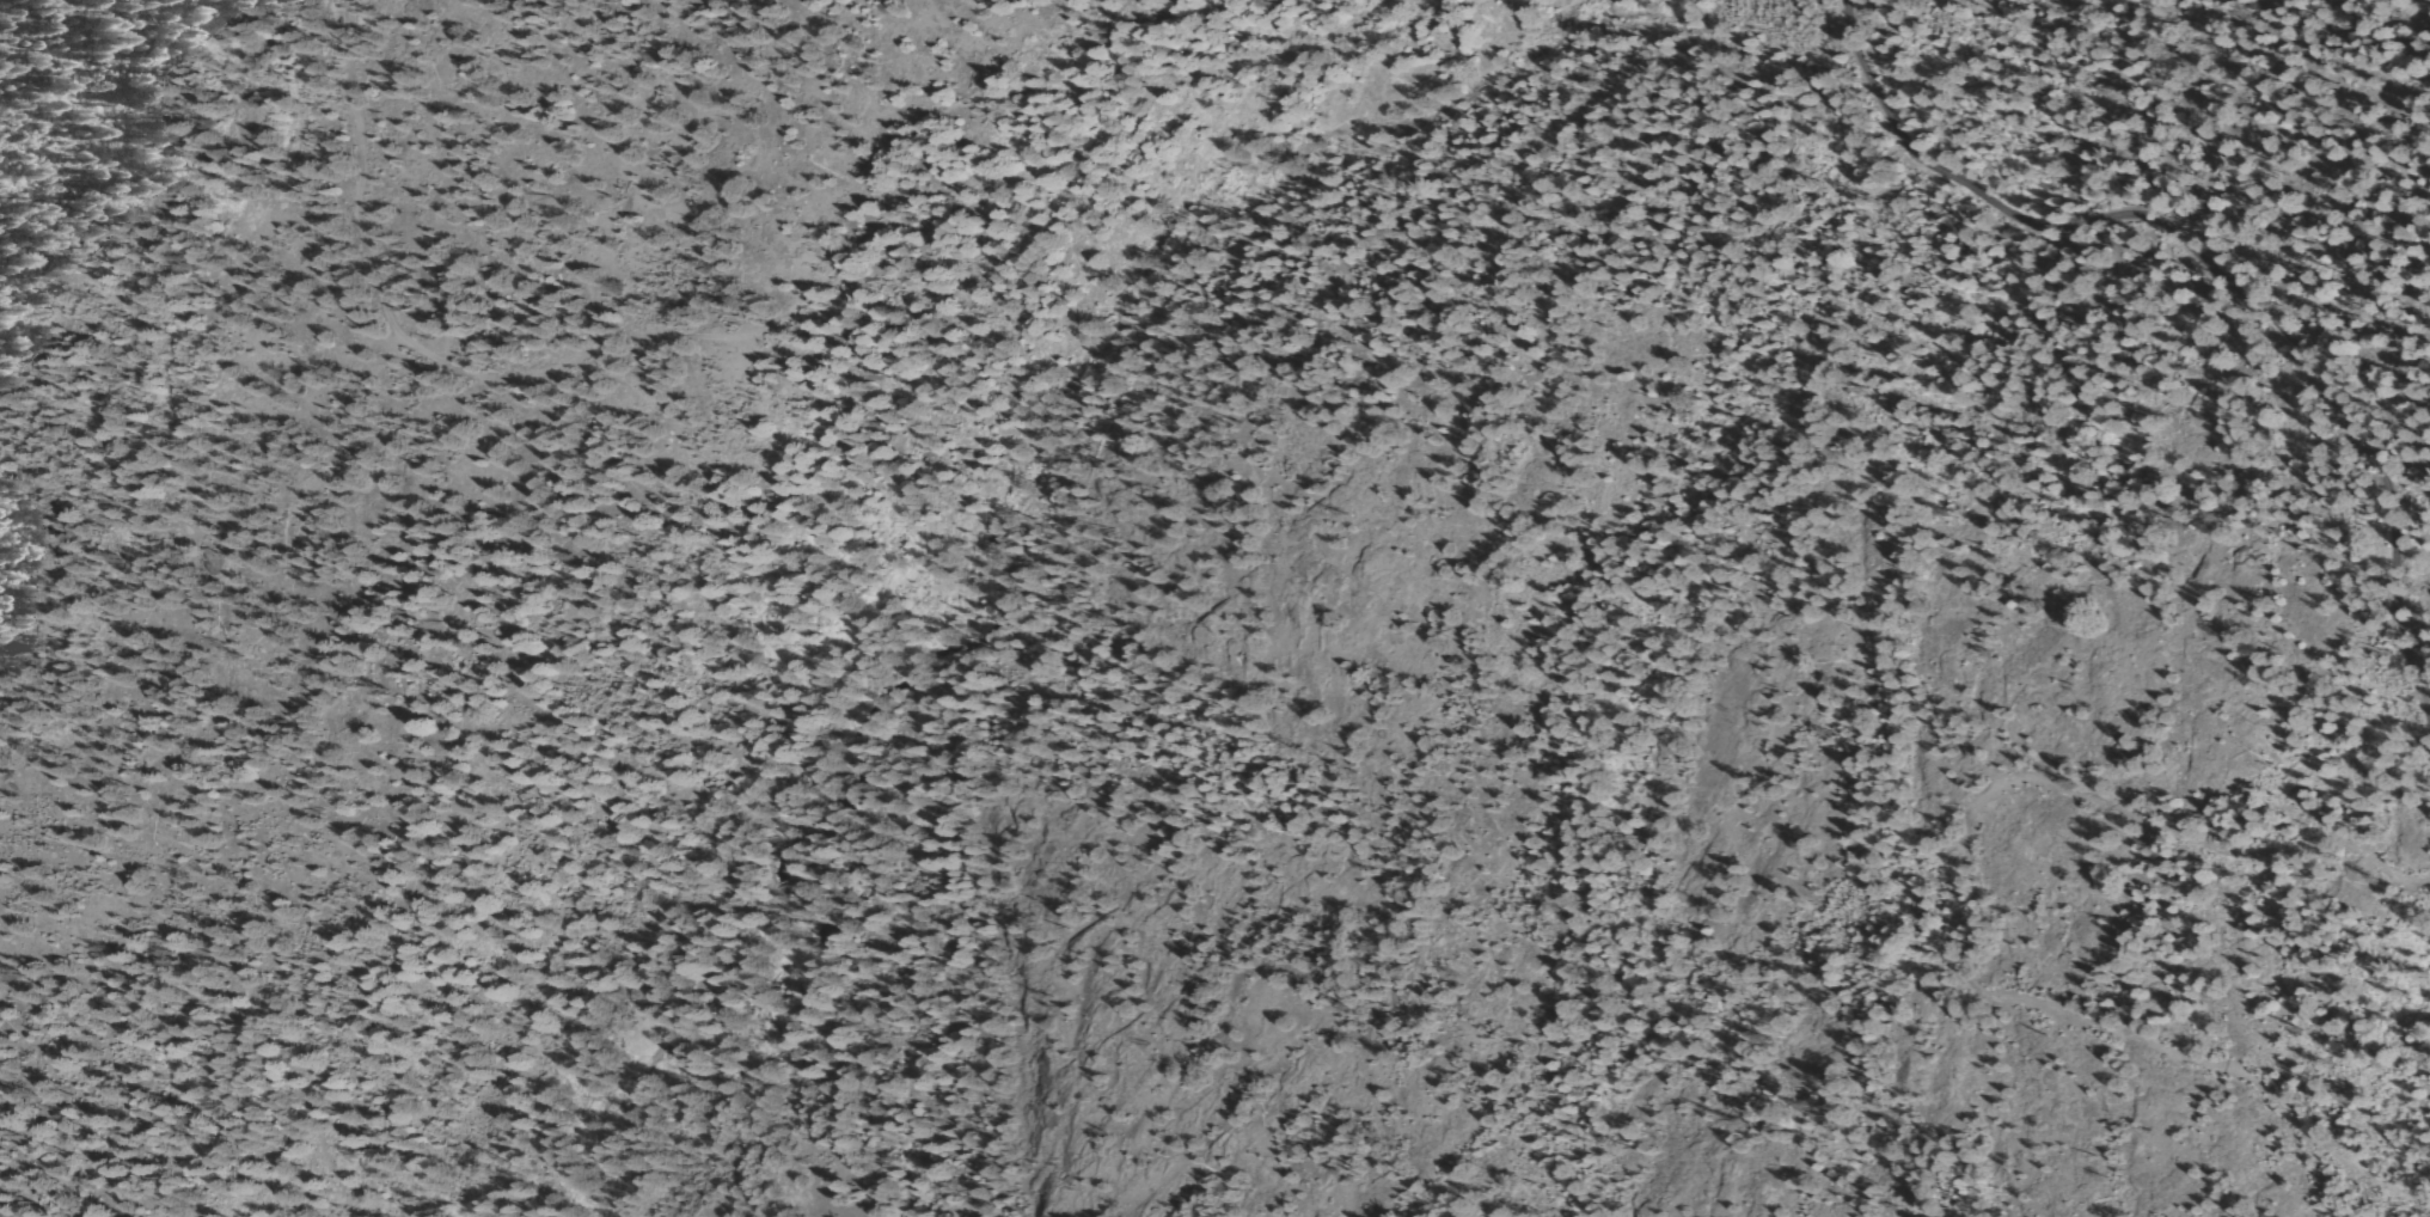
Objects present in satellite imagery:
road: (2212, 275)
road: (1954, 911)

